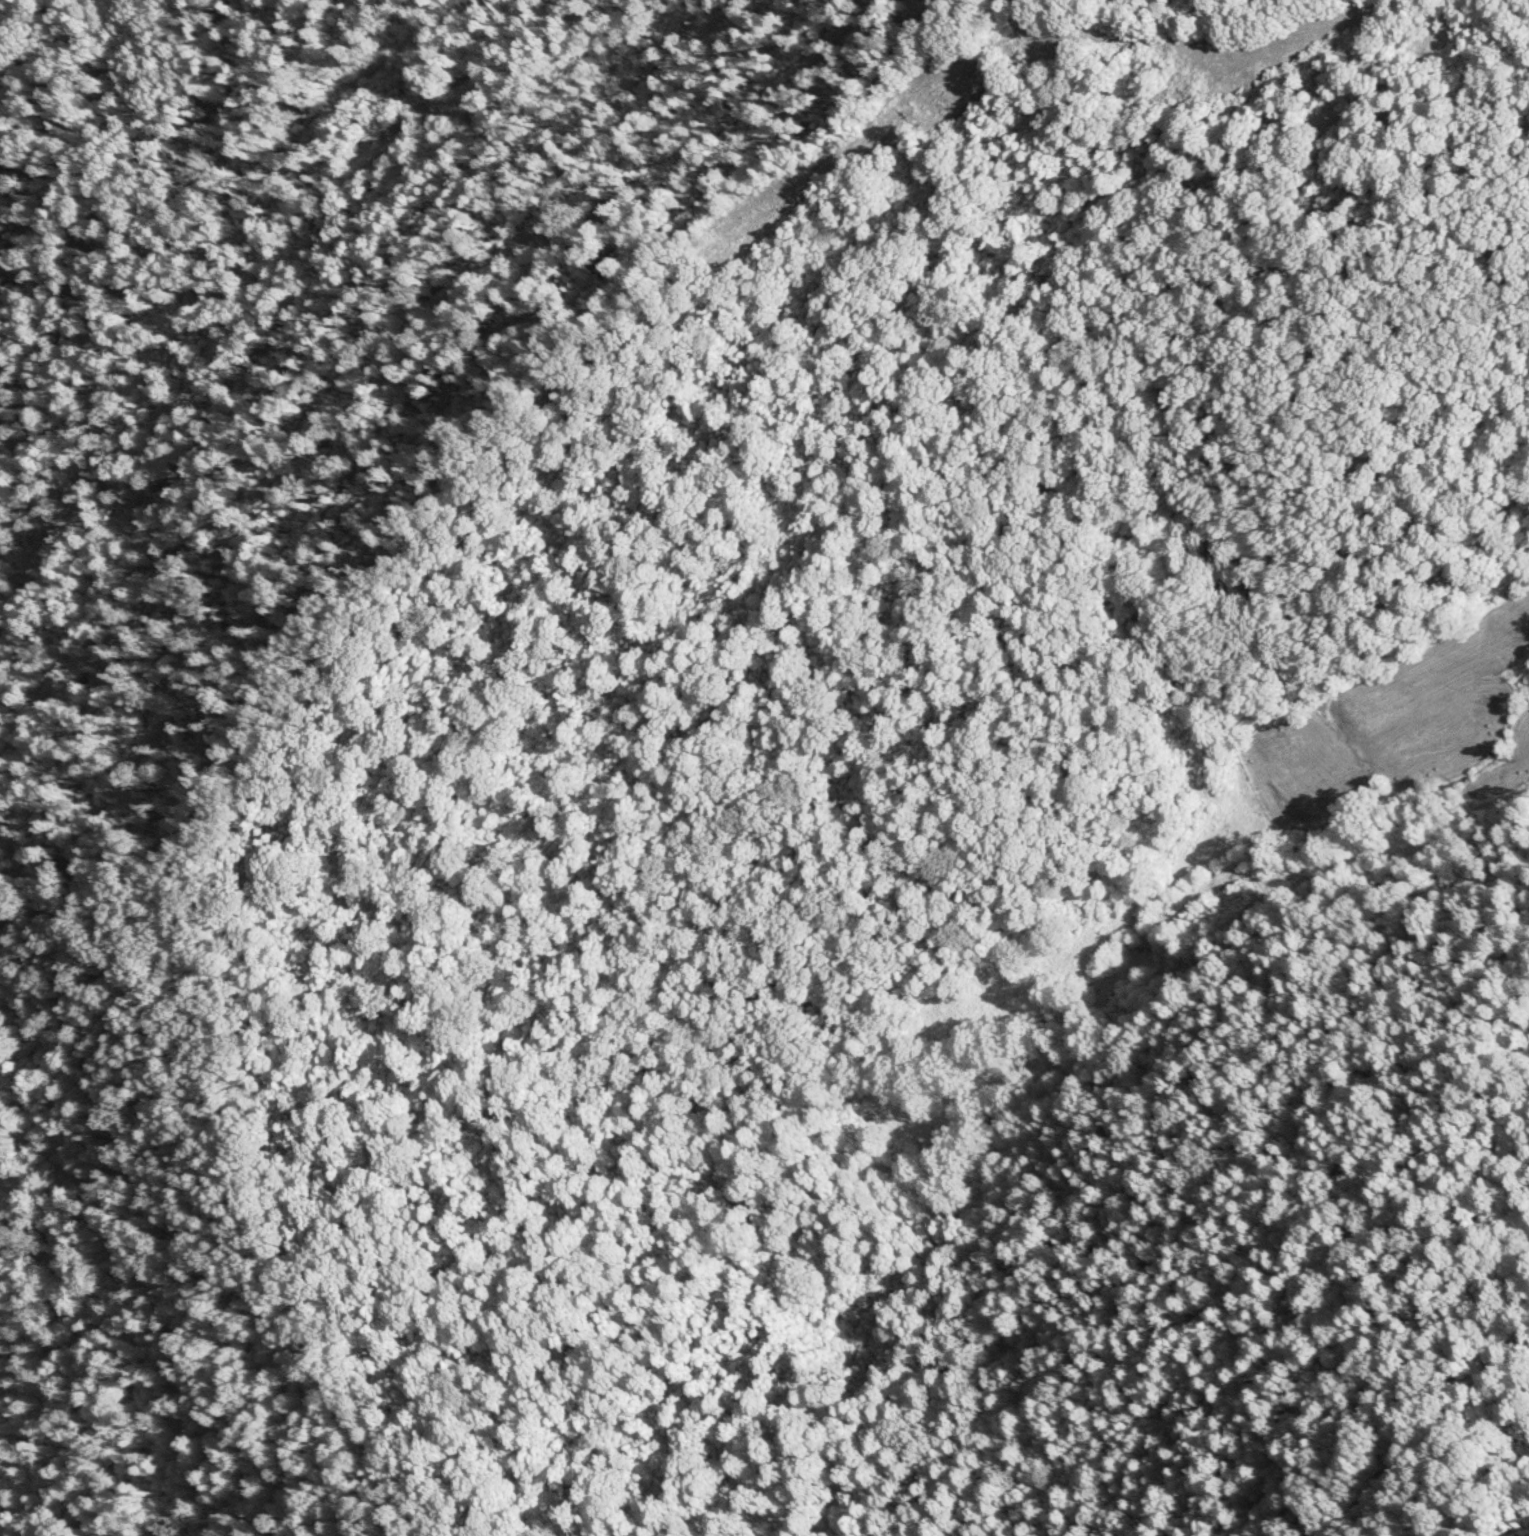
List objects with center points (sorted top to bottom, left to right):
road: (8, 7)

